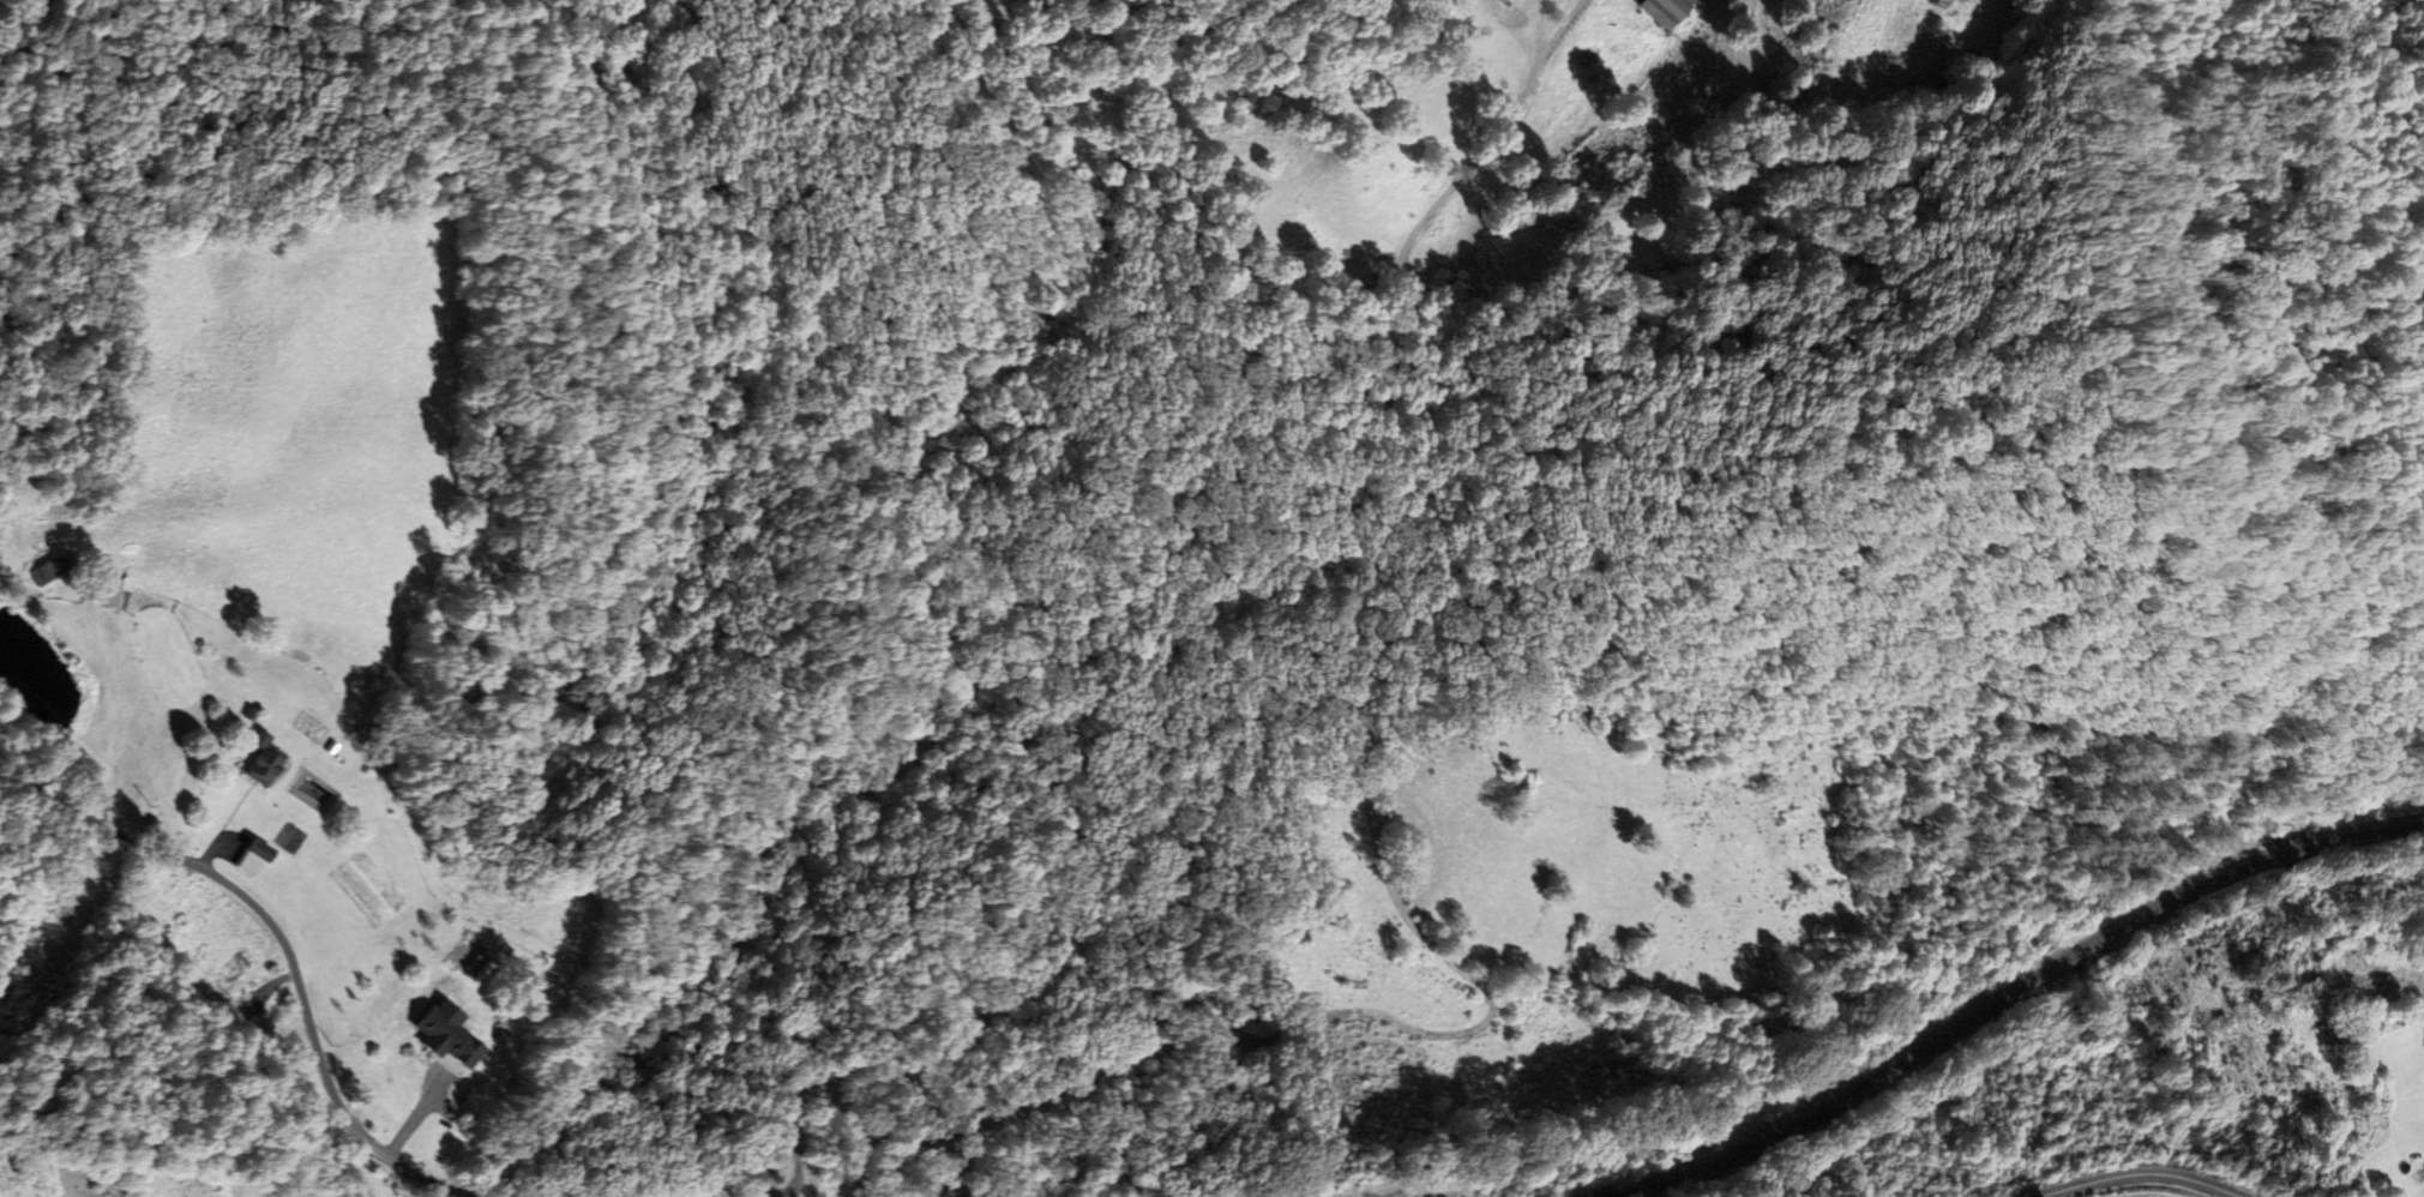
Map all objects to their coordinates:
building: (1661, 11)
building: (42, 567)
building: (109, 594)
building: (253, 760)
building: (248, 856)
road: (283, 938)
railway: (2015, 988)
building: (438, 1034)
road: (354, 1166)
road: (2135, 1172)

